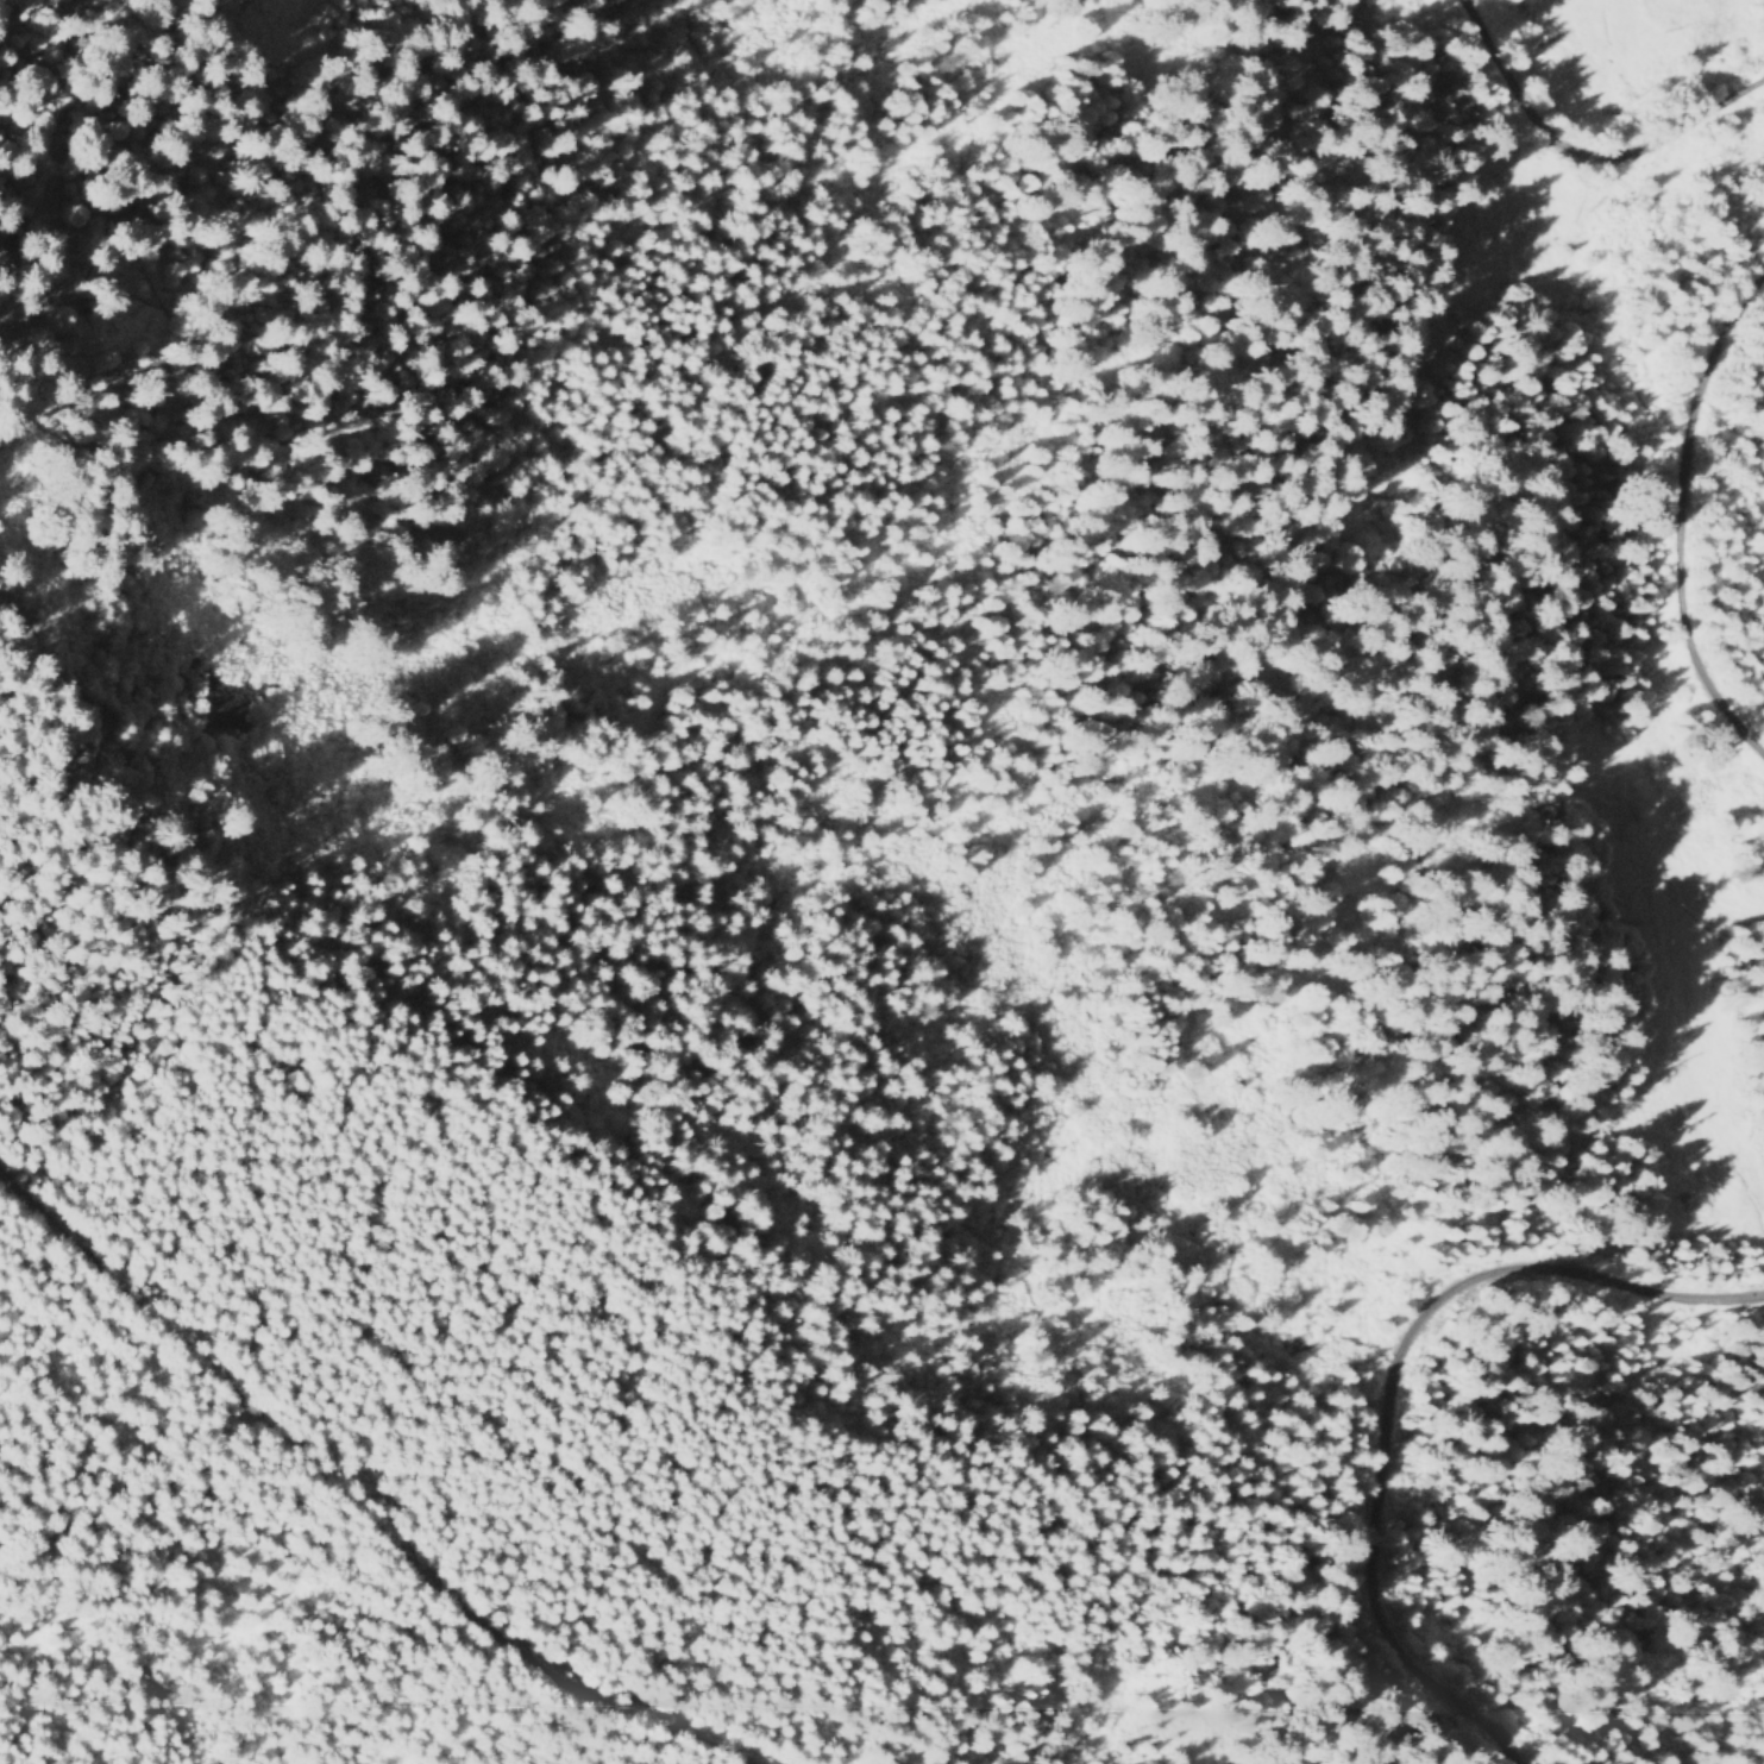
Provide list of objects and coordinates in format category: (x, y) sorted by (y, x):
road: (1583, 156)
road: (1674, 511)
road: (1398, 1391)
road: (356, 1490)

